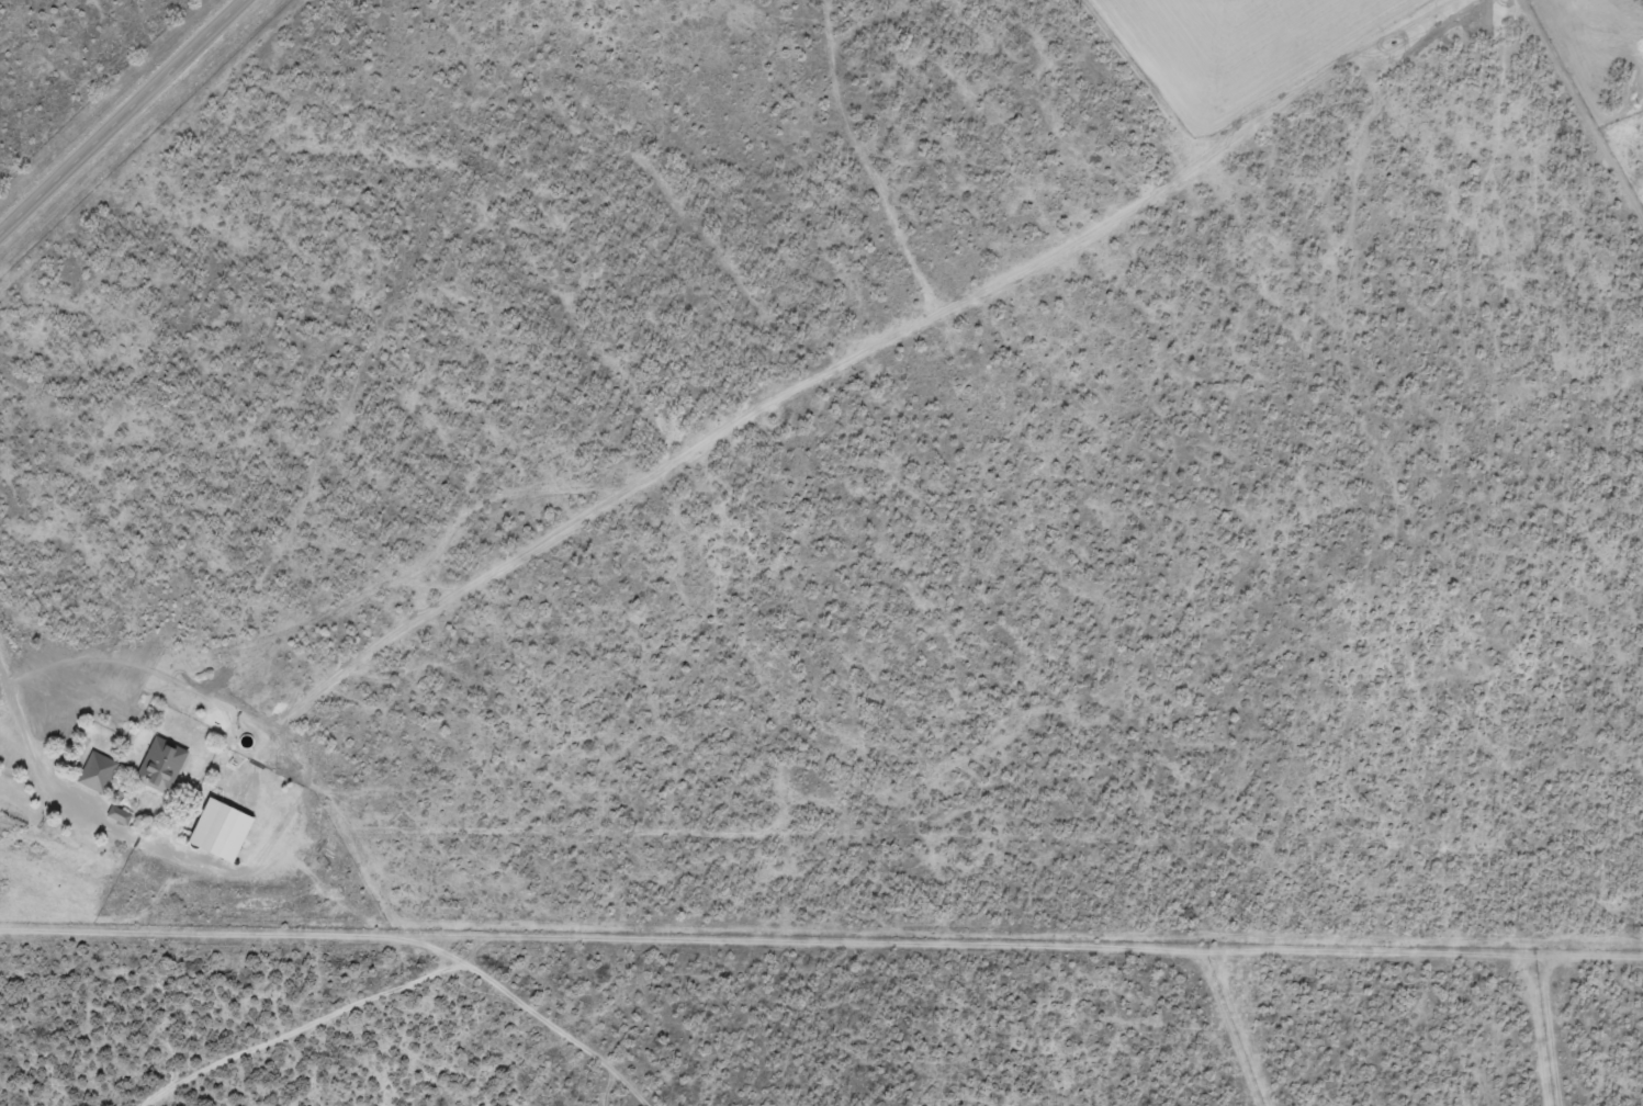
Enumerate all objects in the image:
road: (1601, 36)
road: (122, 116)
building: (160, 765)
building: (97, 771)
building: (120, 815)
building: (220, 830)
road: (353, 936)

